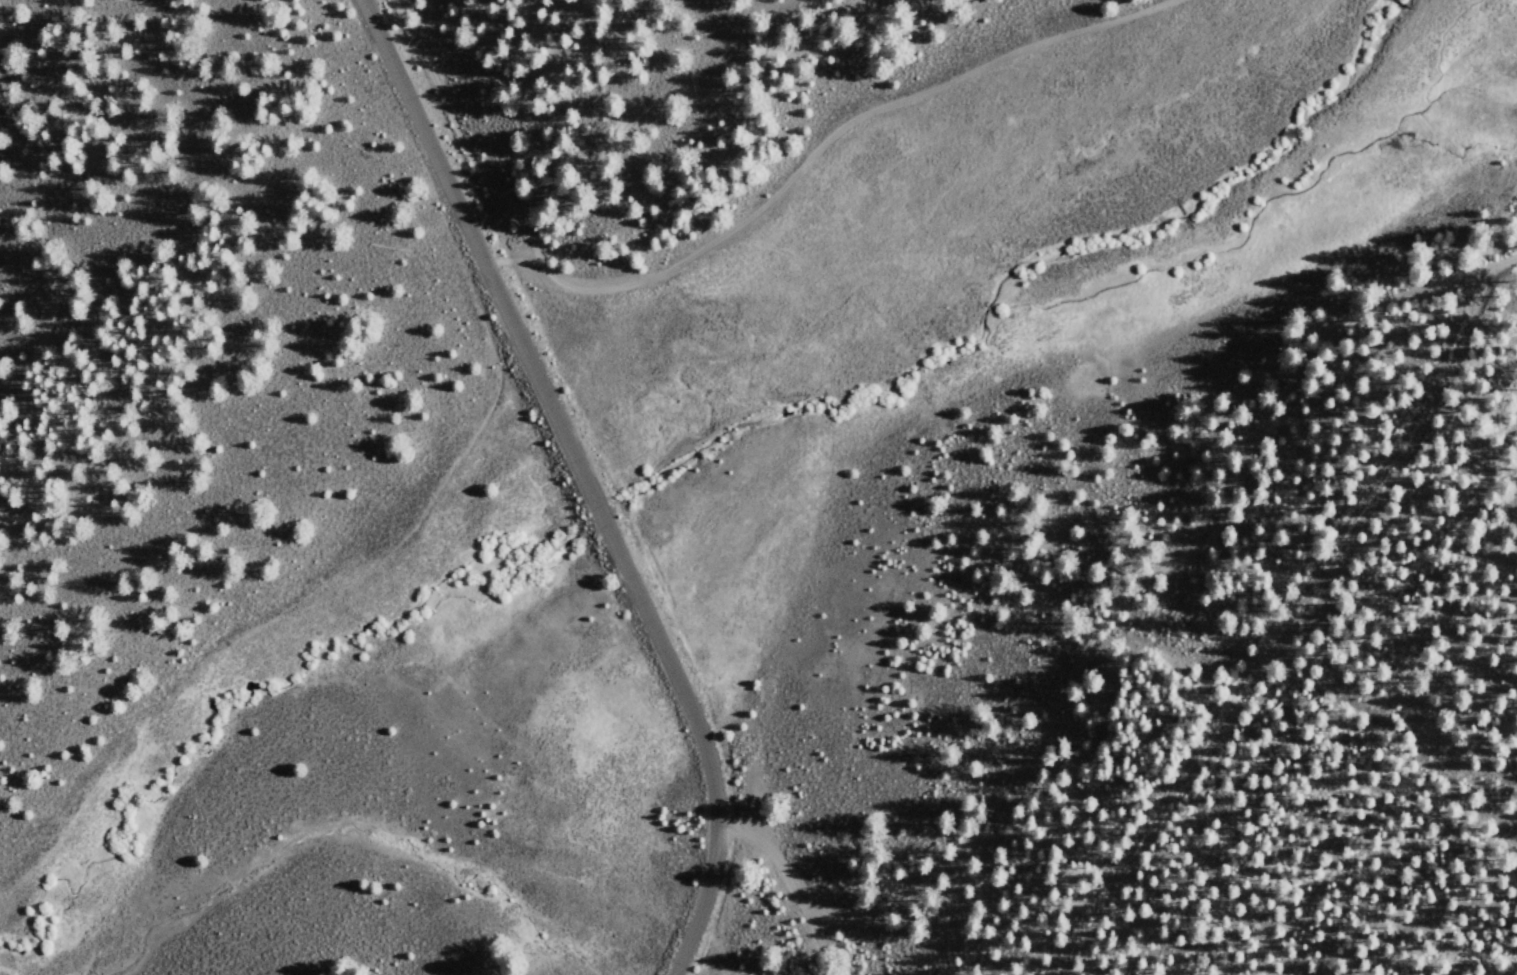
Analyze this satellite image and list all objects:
road: (446, 101)
road: (814, 158)
road: (43, 240)
road: (584, 479)
road: (1101, 623)
road: (1289, 623)
road: (825, 944)
road: (1056, 970)

